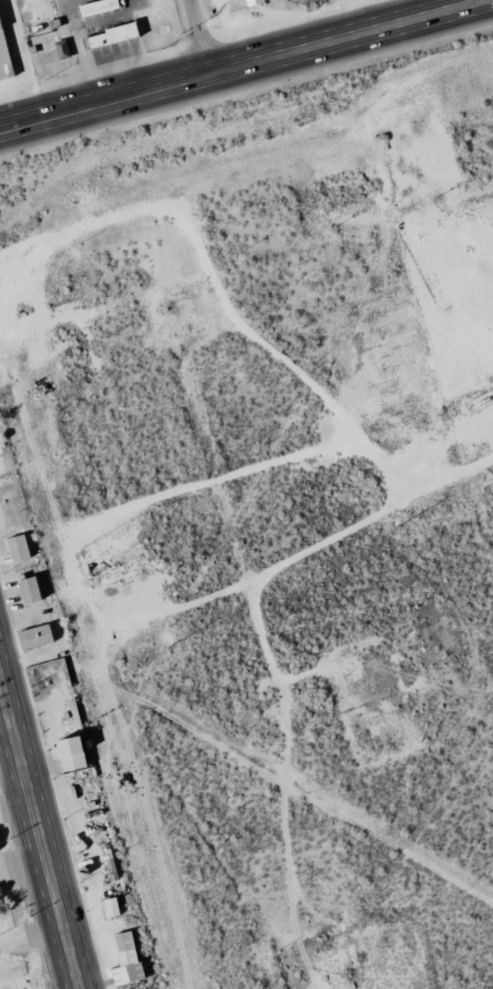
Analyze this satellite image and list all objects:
building: (252, 2)
building: (95, 7)
building: (109, 36)
road: (202, 37)
building: (59, 49)
building: (3, 62)
road: (244, 65)
power tower: (395, 526)
building: (14, 548)
building: (27, 590)
building: (33, 636)
power tower: (166, 647)
building: (65, 754)
road: (39, 835)
building: (108, 907)
building: (122, 960)

